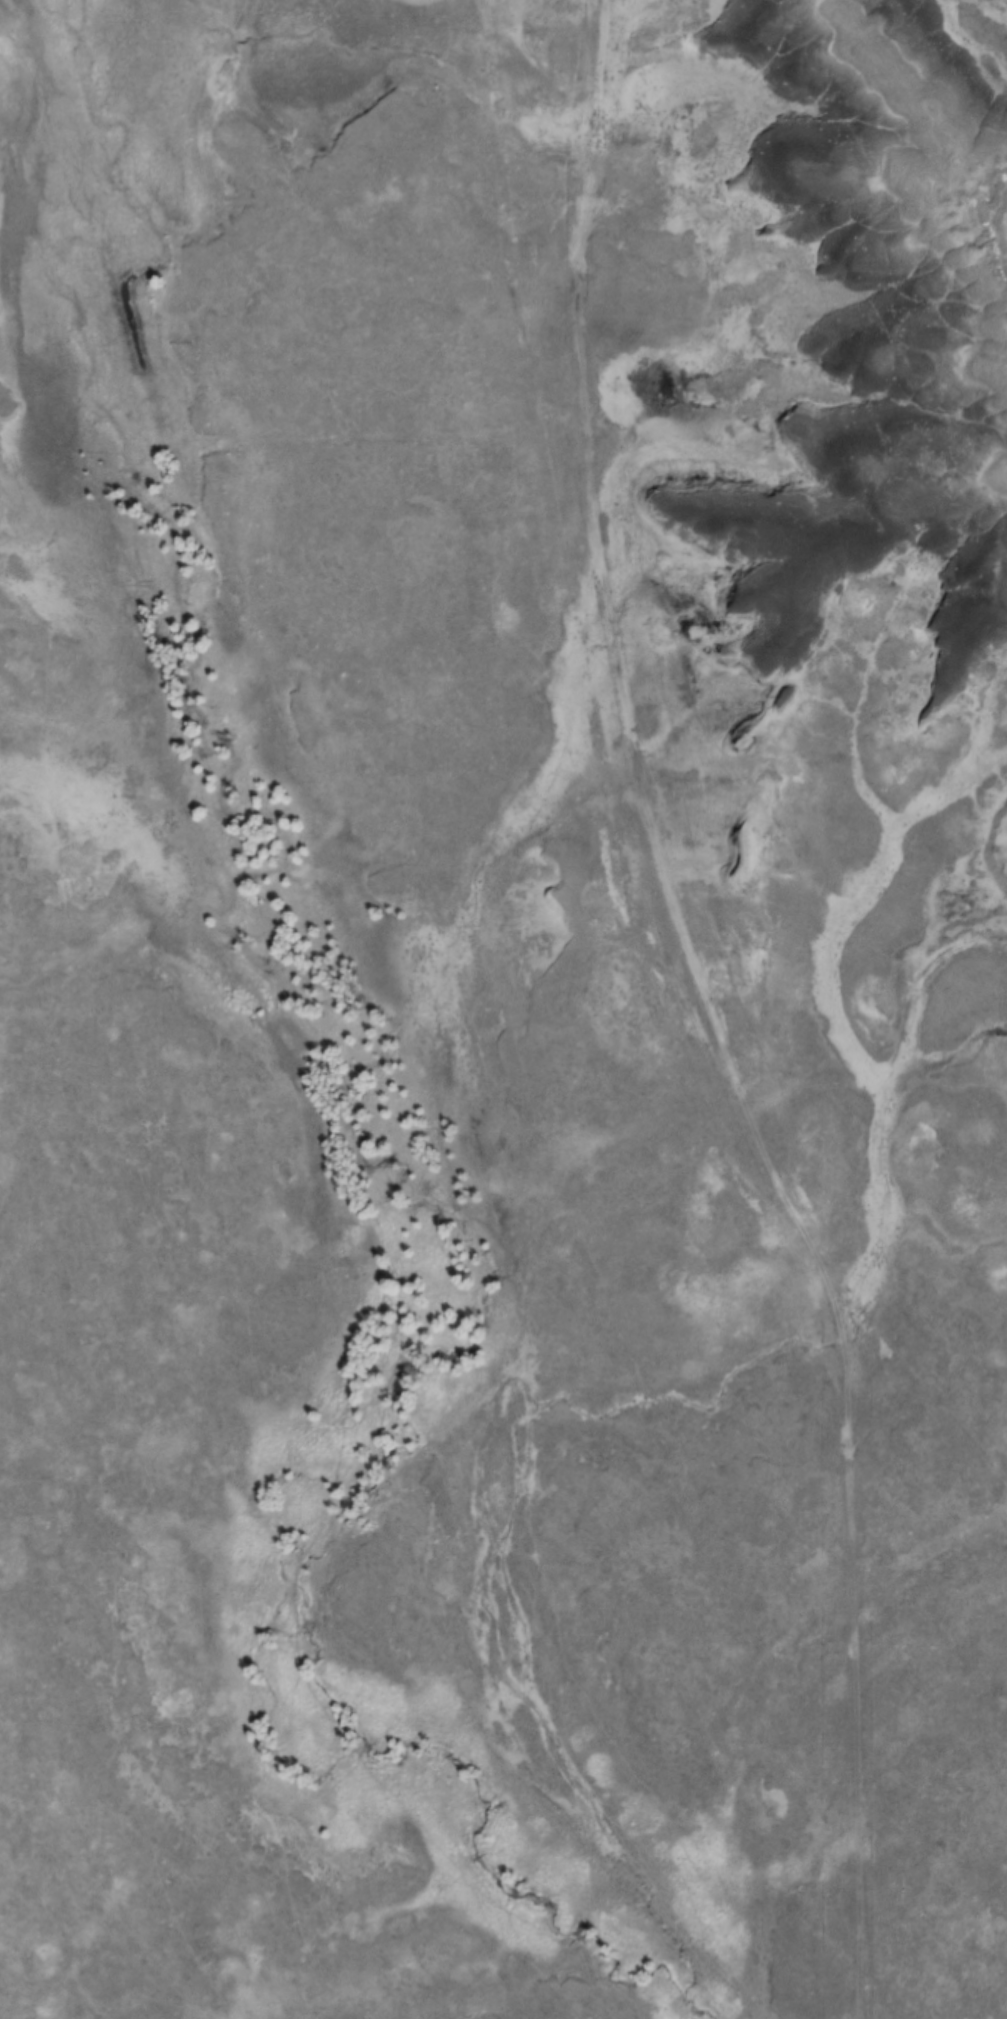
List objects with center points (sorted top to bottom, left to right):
road: (710, 1013)

